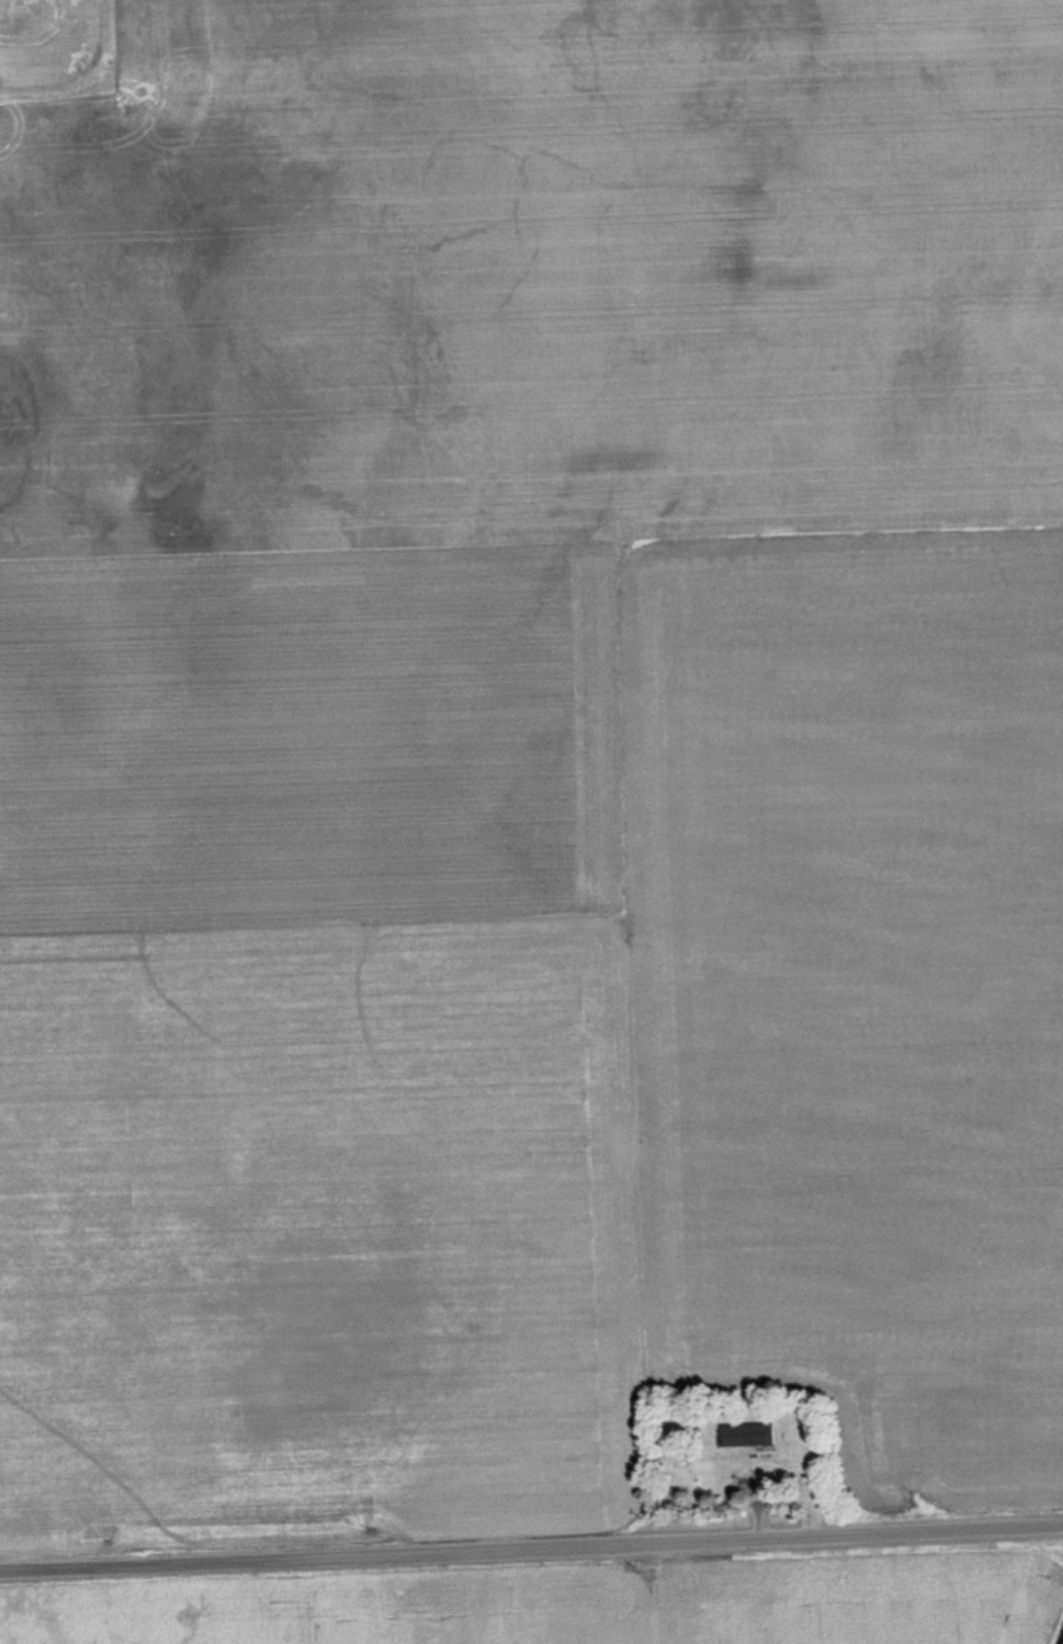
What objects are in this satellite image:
building: (750, 1436)
building: (747, 1485)
road: (531, 1542)

